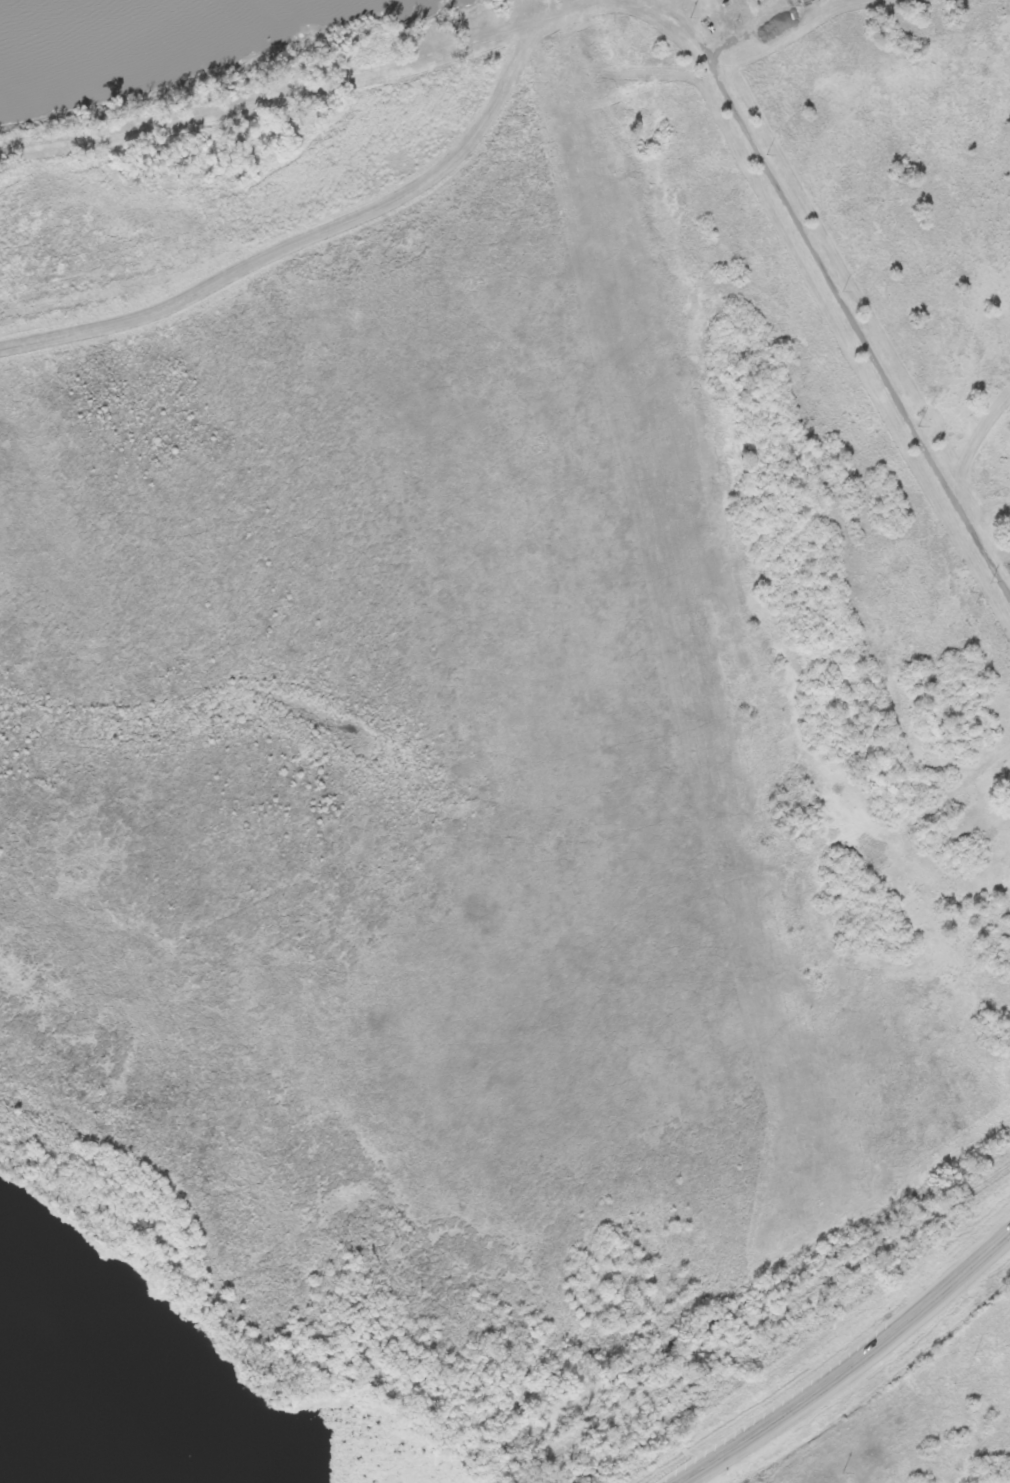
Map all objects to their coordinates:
road: (359, 212)
road: (831, 305)
road: (962, 394)
road: (850, 1366)

